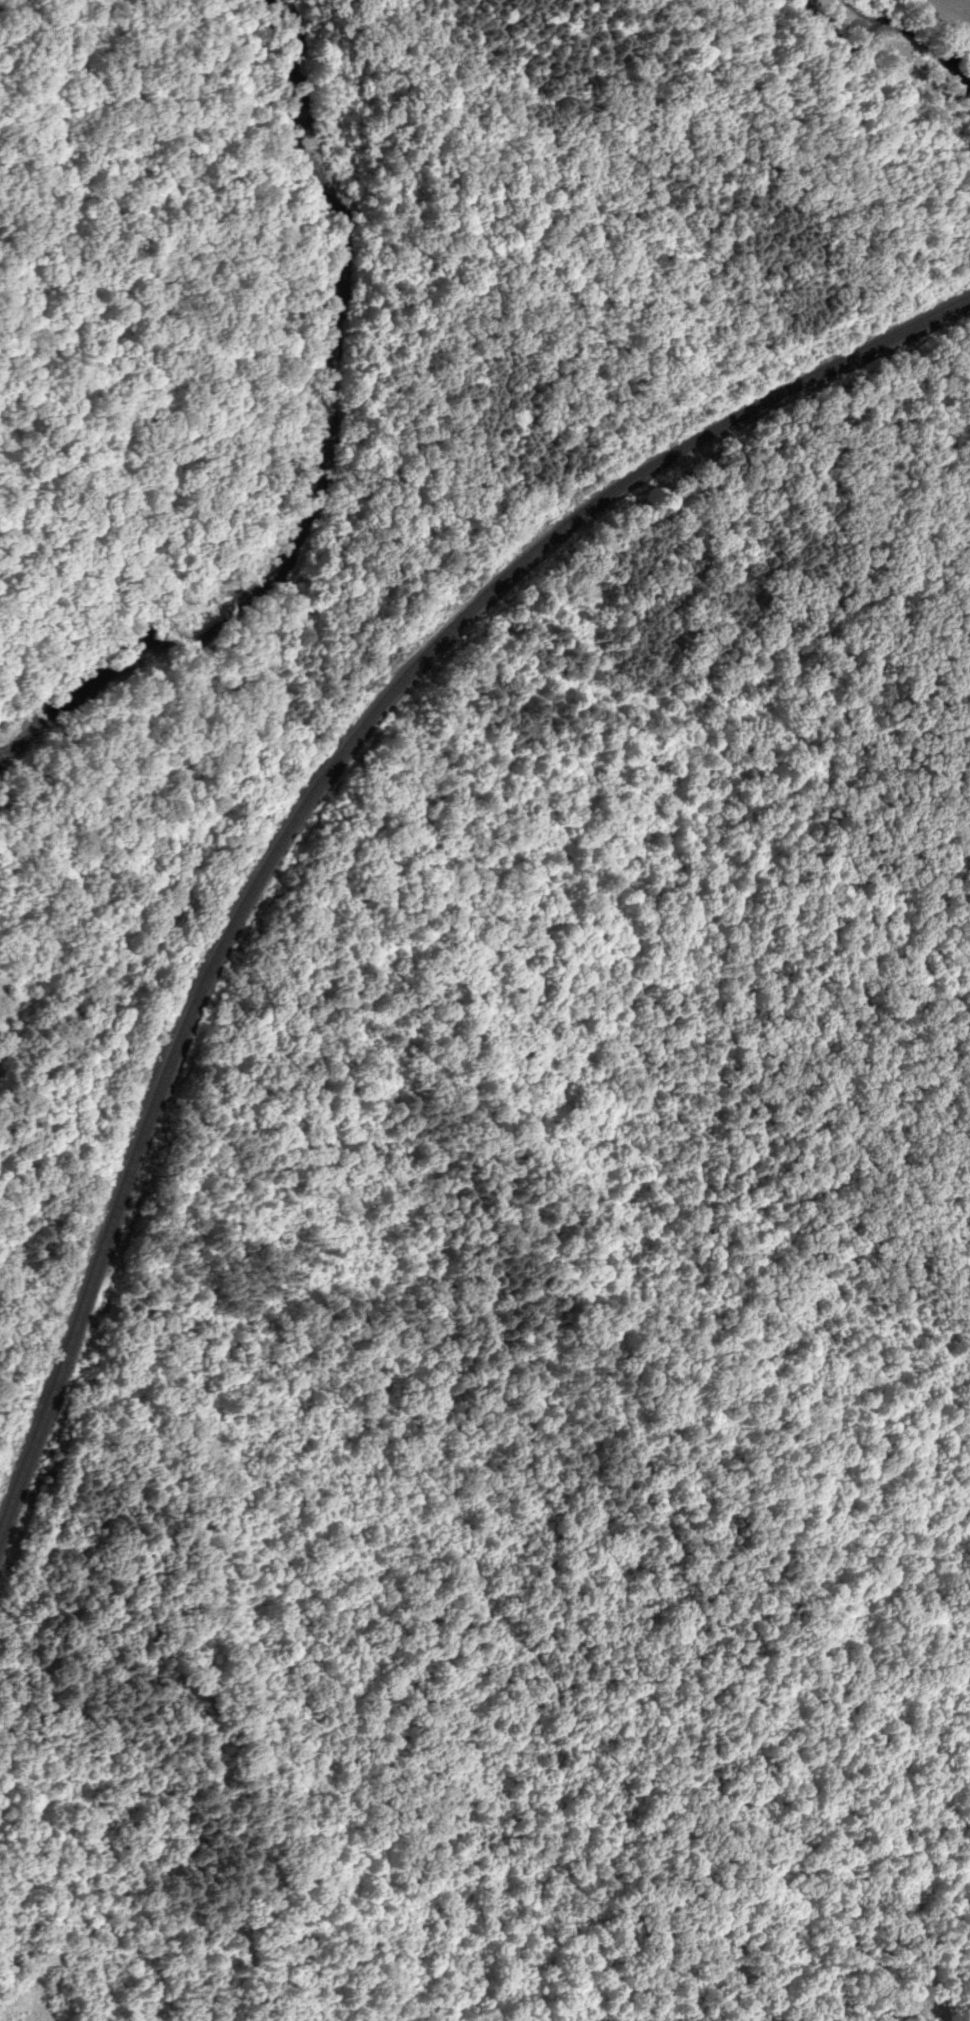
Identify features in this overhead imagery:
railway: (322, 783)
road: (924, 1720)

